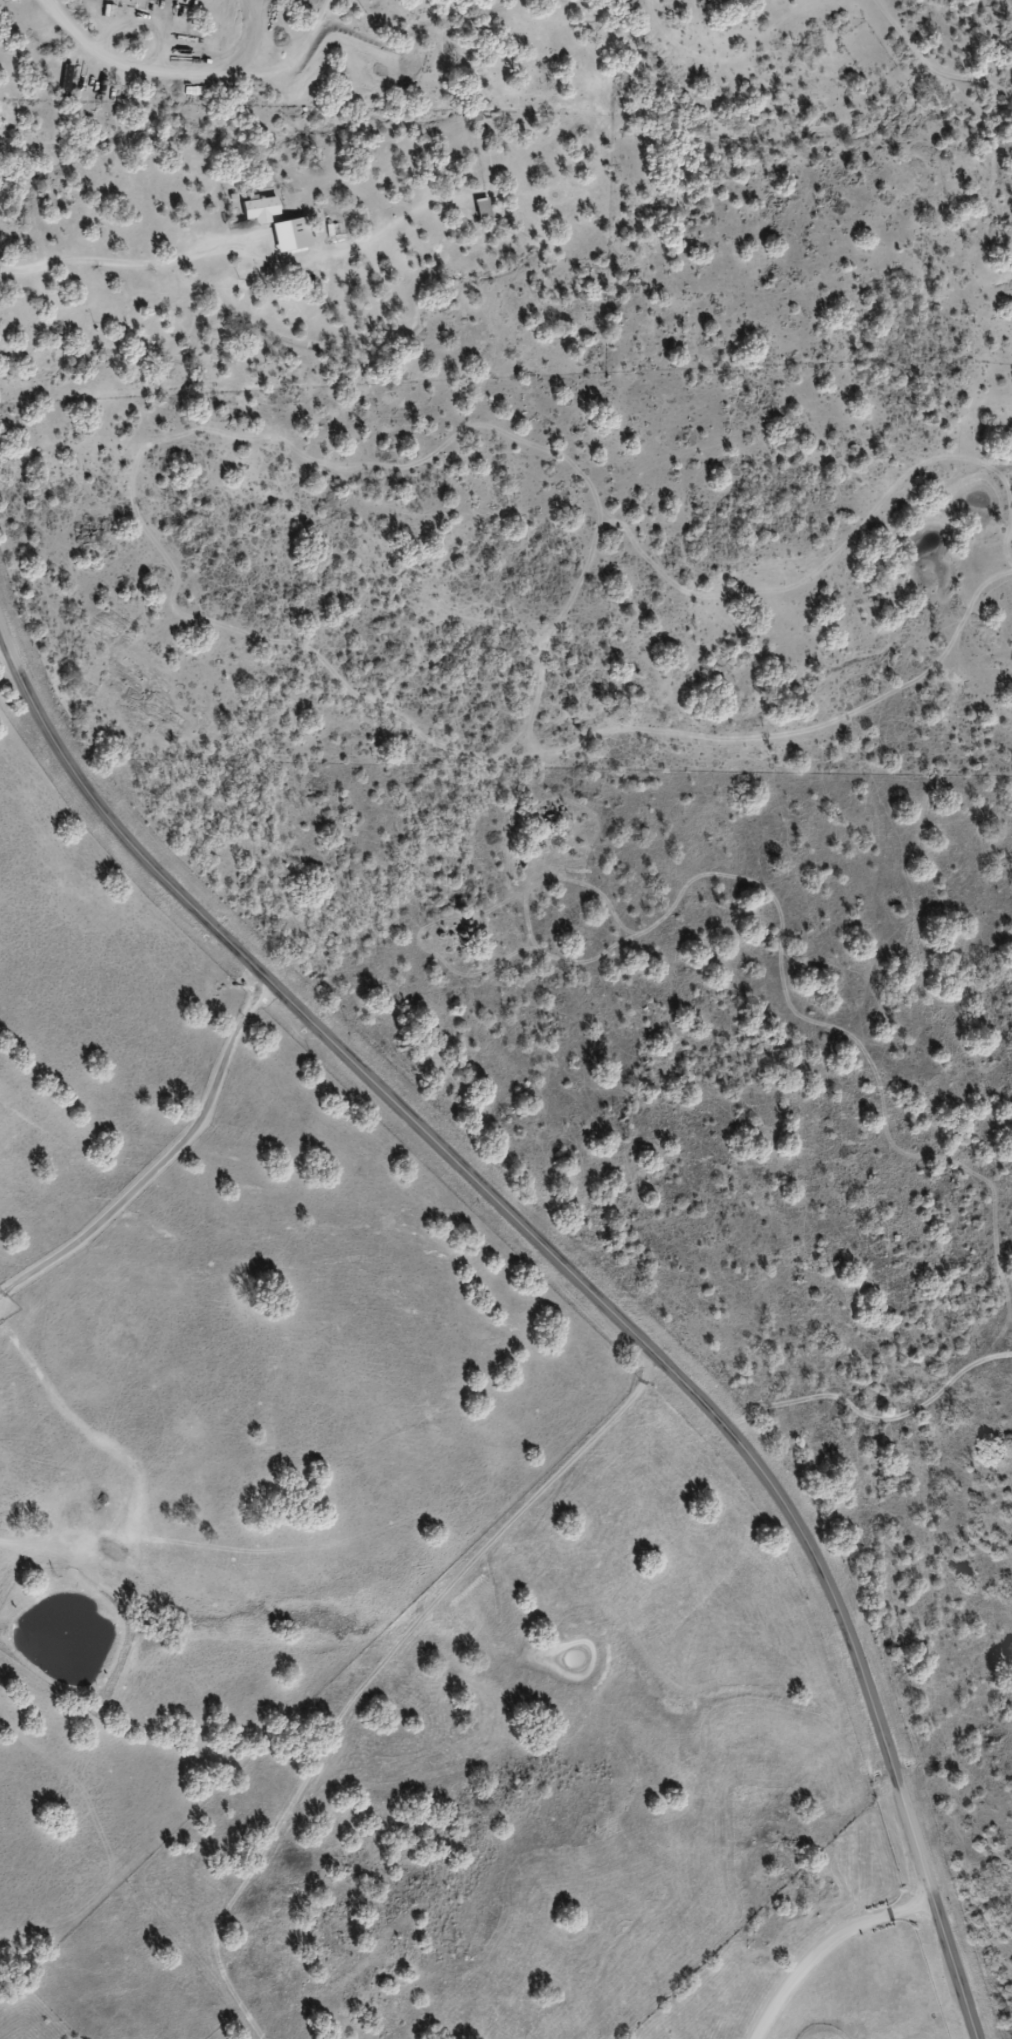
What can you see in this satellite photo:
building: (152, 0)
building: (138, 1)
road: (919, 62)
building: (472, 117)
building: (481, 209)
building: (258, 210)
building: (286, 234)
road: (576, 1280)
road: (889, 1966)

